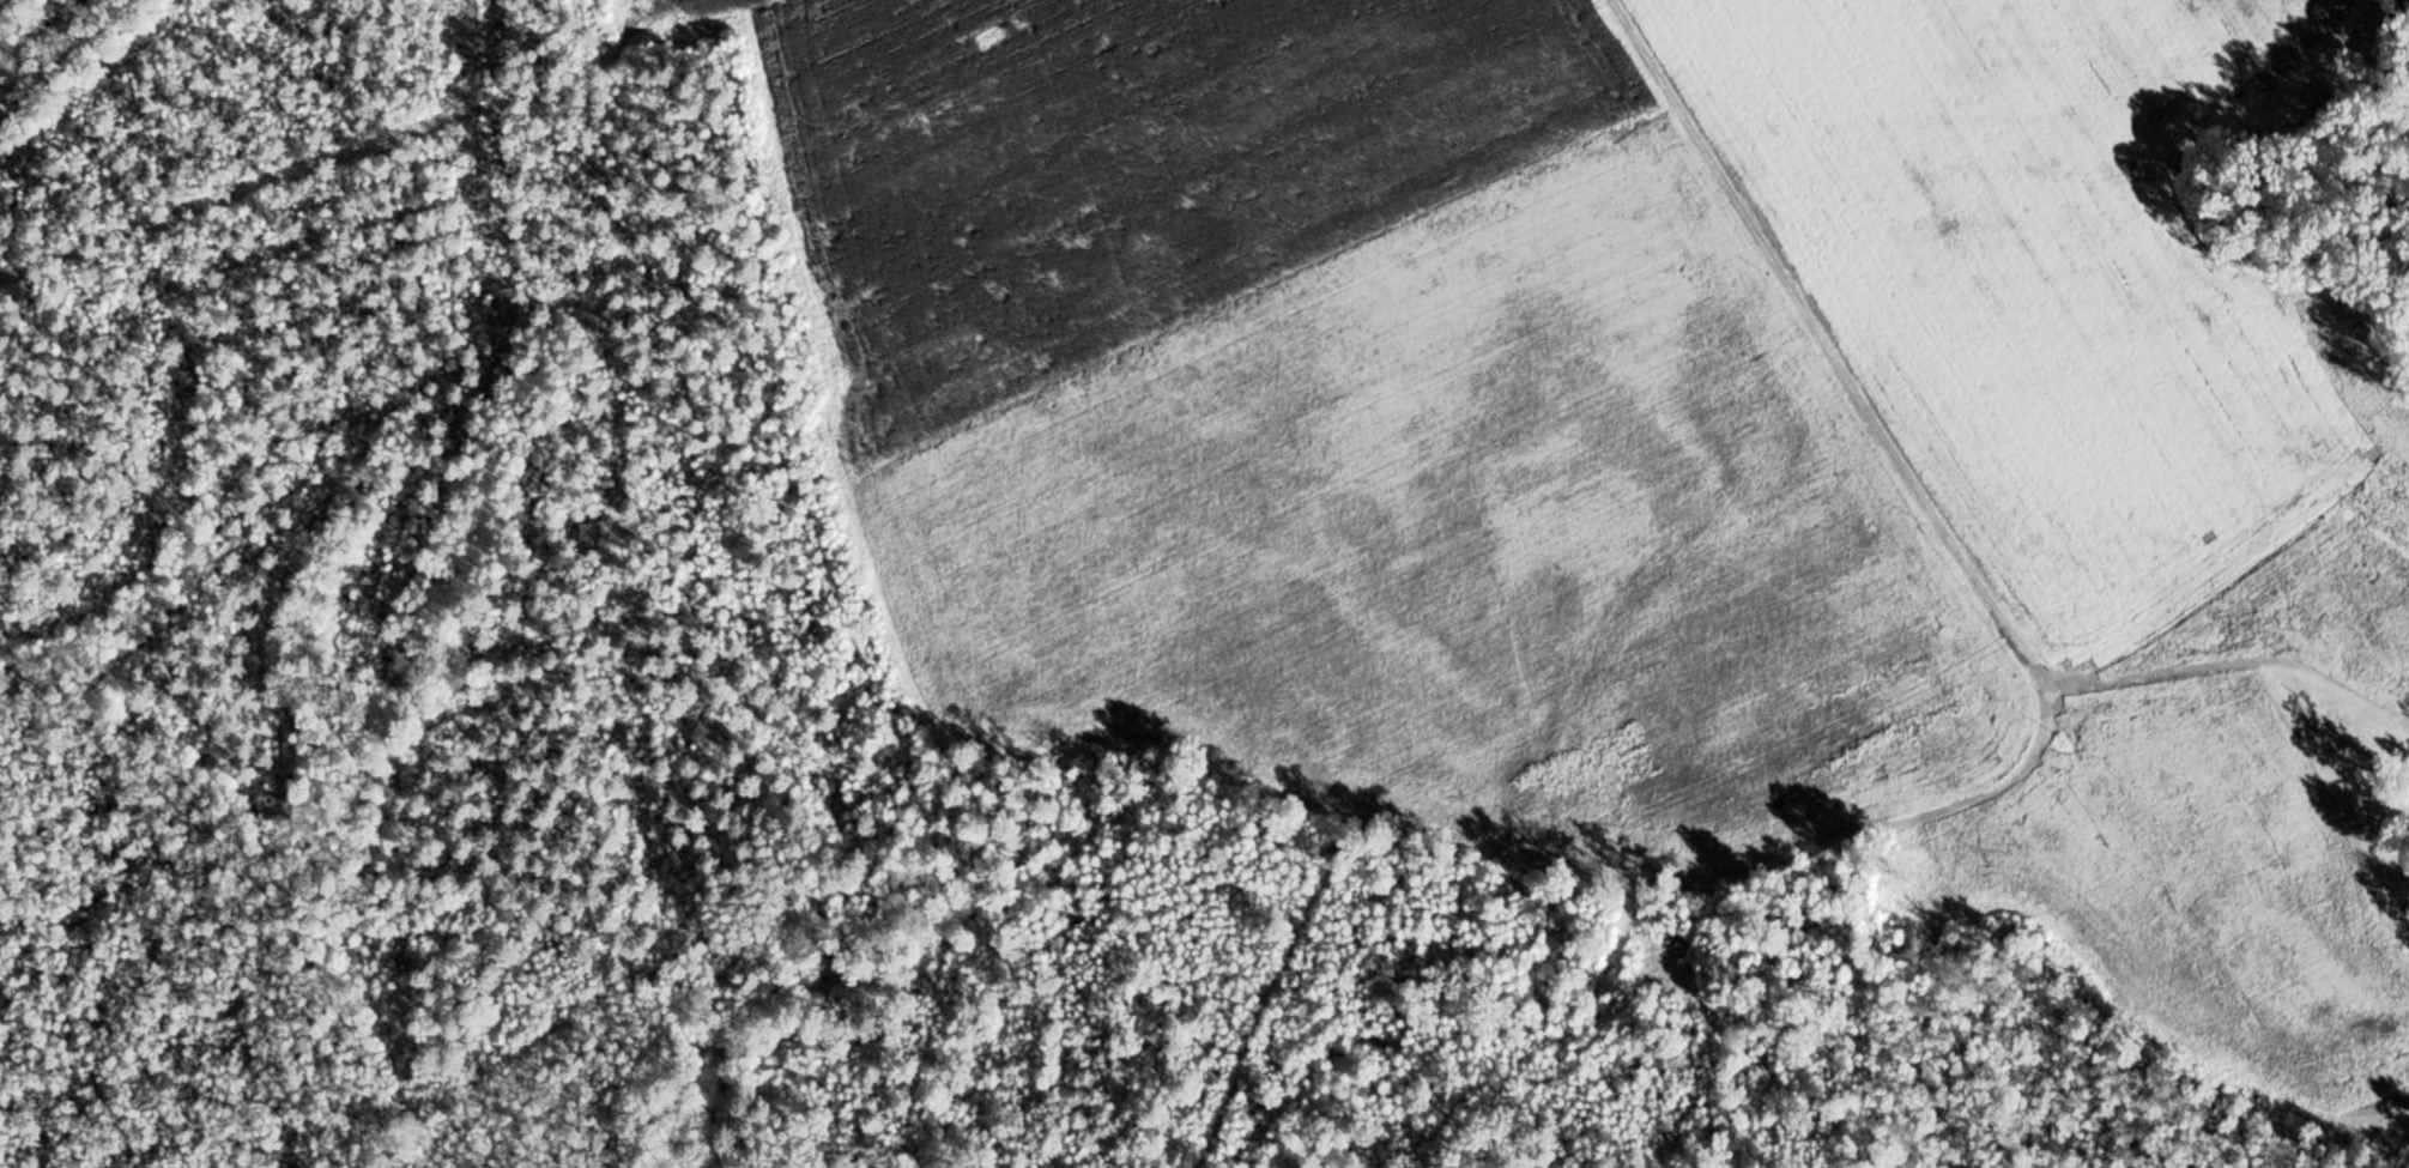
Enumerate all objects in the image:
road: (1921, 507)
park: (1185, 592)

